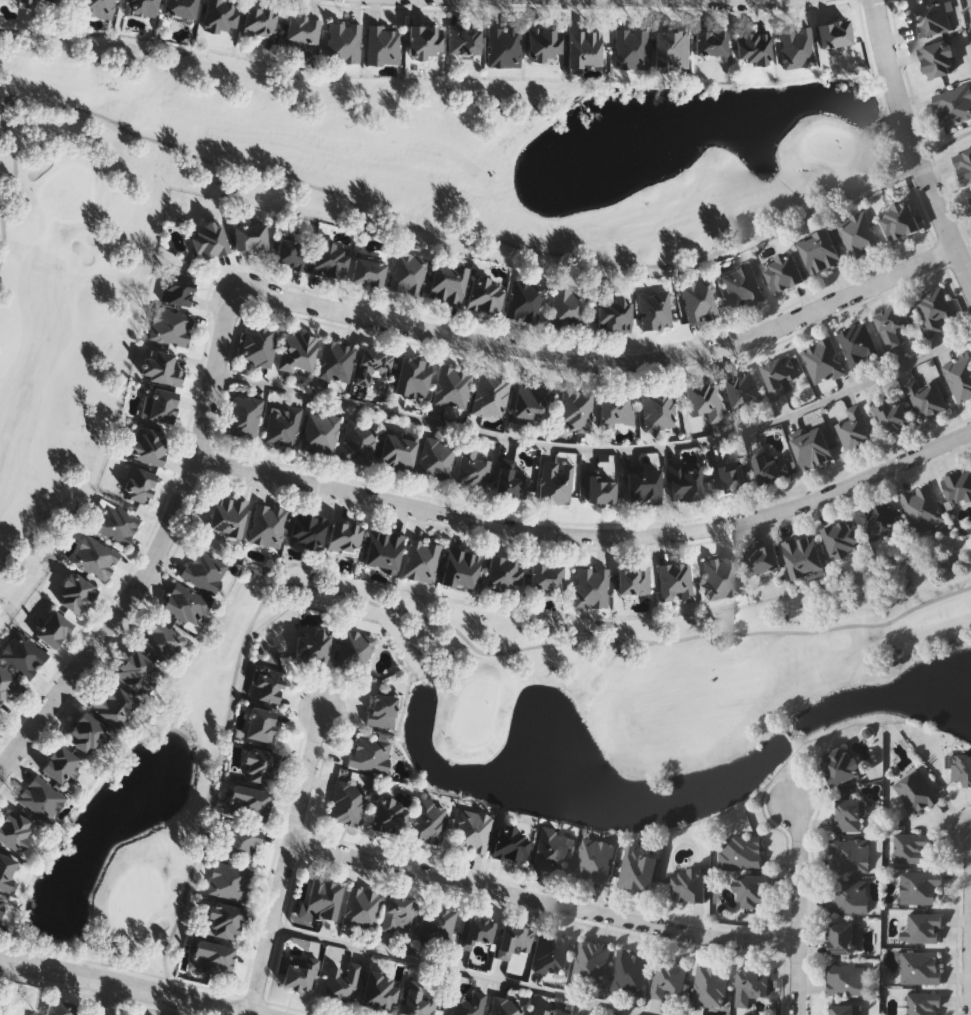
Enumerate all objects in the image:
building: (22, 0)
road: (726, 0)
building: (67, 1)
building: (141, 6)
building: (97, 7)
building: (179, 7)
building: (220, 14)
building: (931, 18)
building: (259, 19)
building: (302, 27)
building: (834, 32)
building: (463, 39)
building: (425, 40)
building: (342, 41)
building: (711, 41)
building: (544, 42)
building: (382, 44)
building: (504, 45)
building: (584, 46)
building: (753, 46)
building: (797, 46)
building: (630, 48)
building: (671, 48)
building: (938, 58)
building: (954, 104)
road: (910, 145)
building: (964, 164)
building: (969, 200)
park: (355, 206)
building: (899, 221)
building: (856, 233)
building: (250, 235)
building: (208, 239)
building: (820, 251)
building: (291, 253)
building: (330, 258)
building: (368, 271)
building: (784, 271)
building: (408, 272)
building: (447, 282)
building: (742, 285)
building: (178, 287)
building: (485, 293)
building: (698, 298)
building: (524, 299)
building: (567, 307)
building: (934, 307)
building: (654, 309)
building: (614, 313)
building: (892, 323)
building: (170, 325)
building: (259, 343)
building: (858, 344)
building: (298, 350)
building: (335, 360)
building: (823, 361)
road: (604, 362)
building: (372, 364)
building: (161, 366)
building: (779, 374)
building: (412, 377)
building: (959, 377)
building: (451, 387)
building: (742, 390)
building: (489, 395)
building: (926, 397)
building: (702, 399)
building: (530, 403)
building: (159, 404)
building: (616, 409)
building: (657, 409)
building: (574, 410)
building: (892, 413)
building: (244, 415)
building: (282, 425)
building: (853, 427)
building: (320, 433)
building: (357, 442)
building: (150, 445)
road: (599, 448)
building: (813, 448)
building: (397, 452)
building: (435, 458)
building: (772, 466)
building: (471, 469)
building: (729, 473)
building: (685, 480)
building: (555, 481)
building: (512, 482)
building: (139, 483)
building: (643, 486)
building: (958, 486)
building: (600, 489)
building: (922, 508)
building: (227, 515)
building: (881, 520)
building: (114, 522)
building: (267, 524)
building: (308, 529)
road: (588, 534)
building: (344, 537)
building: (843, 538)
building: (383, 550)
road: (158, 552)
building: (803, 556)
building: (95, 557)
building: (421, 560)
building: (762, 560)
building: (461, 568)
building: (204, 570)
building: (504, 573)
building: (546, 577)
building: (720, 577)
building: (633, 580)
building: (674, 581)
building: (591, 586)
building: (76, 594)
building: (185, 605)
building: (54, 628)
building: (161, 640)
building: (313, 645)
building: (354, 651)
building: (23, 654)
building: (137, 671)
building: (9, 683)
building: (266, 684)
building: (112, 703)
building: (382, 709)
building: (0, 720)
building: (260, 723)
park: (519, 725)
building: (87, 733)
building: (370, 753)
building: (59, 763)
building: (261, 765)
building: (843, 765)
building: (961, 769)
building: (915, 791)
building: (41, 798)
building: (248, 801)
building: (346, 801)
building: (389, 815)
building: (847, 815)
building: (429, 820)
building: (14, 828)
building: (472, 831)
building: (238, 842)
building: (511, 843)
building: (910, 848)
building: (551, 849)
building: (740, 851)
building: (849, 855)
building: (595, 859)
road: (286, 863)
building: (638, 869)
building: (6, 870)
building: (229, 880)
building: (690, 886)
building: (919, 887)
building: (754, 891)
building: (848, 896)
building: (321, 900)
road: (543, 901)
building: (1, 904)
building: (360, 907)
building: (397, 913)
road: (796, 913)
road: (967, 919)
building: (224, 921)
building: (436, 925)
building: (922, 927)
building: (475, 931)
building: (843, 937)
building: (513, 940)
building: (552, 953)
building: (212, 958)
building: (591, 962)
building: (920, 967)
road: (461, 970)
building: (630, 971)
building: (300, 972)
building: (668, 977)
building: (848, 980)
building: (342, 982)
building: (751, 986)
road: (125, 987)
building: (711, 987)
building: (379, 990)
road: (107, 999)
building: (418, 1003)
building: (922, 1003)
building: (468, 1004)
building: (505, 1006)
building: (62, 1008)
building: (844, 1009)
building: (545, 1012)
building: (32, 1014)
building: (577, 1014)

